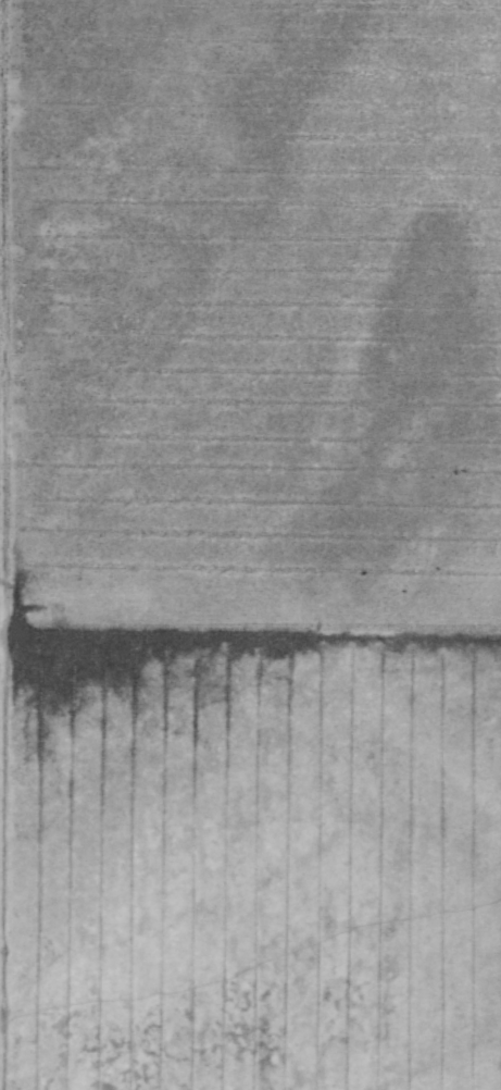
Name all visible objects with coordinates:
crop: (250, 319)
crop: (249, 864)

